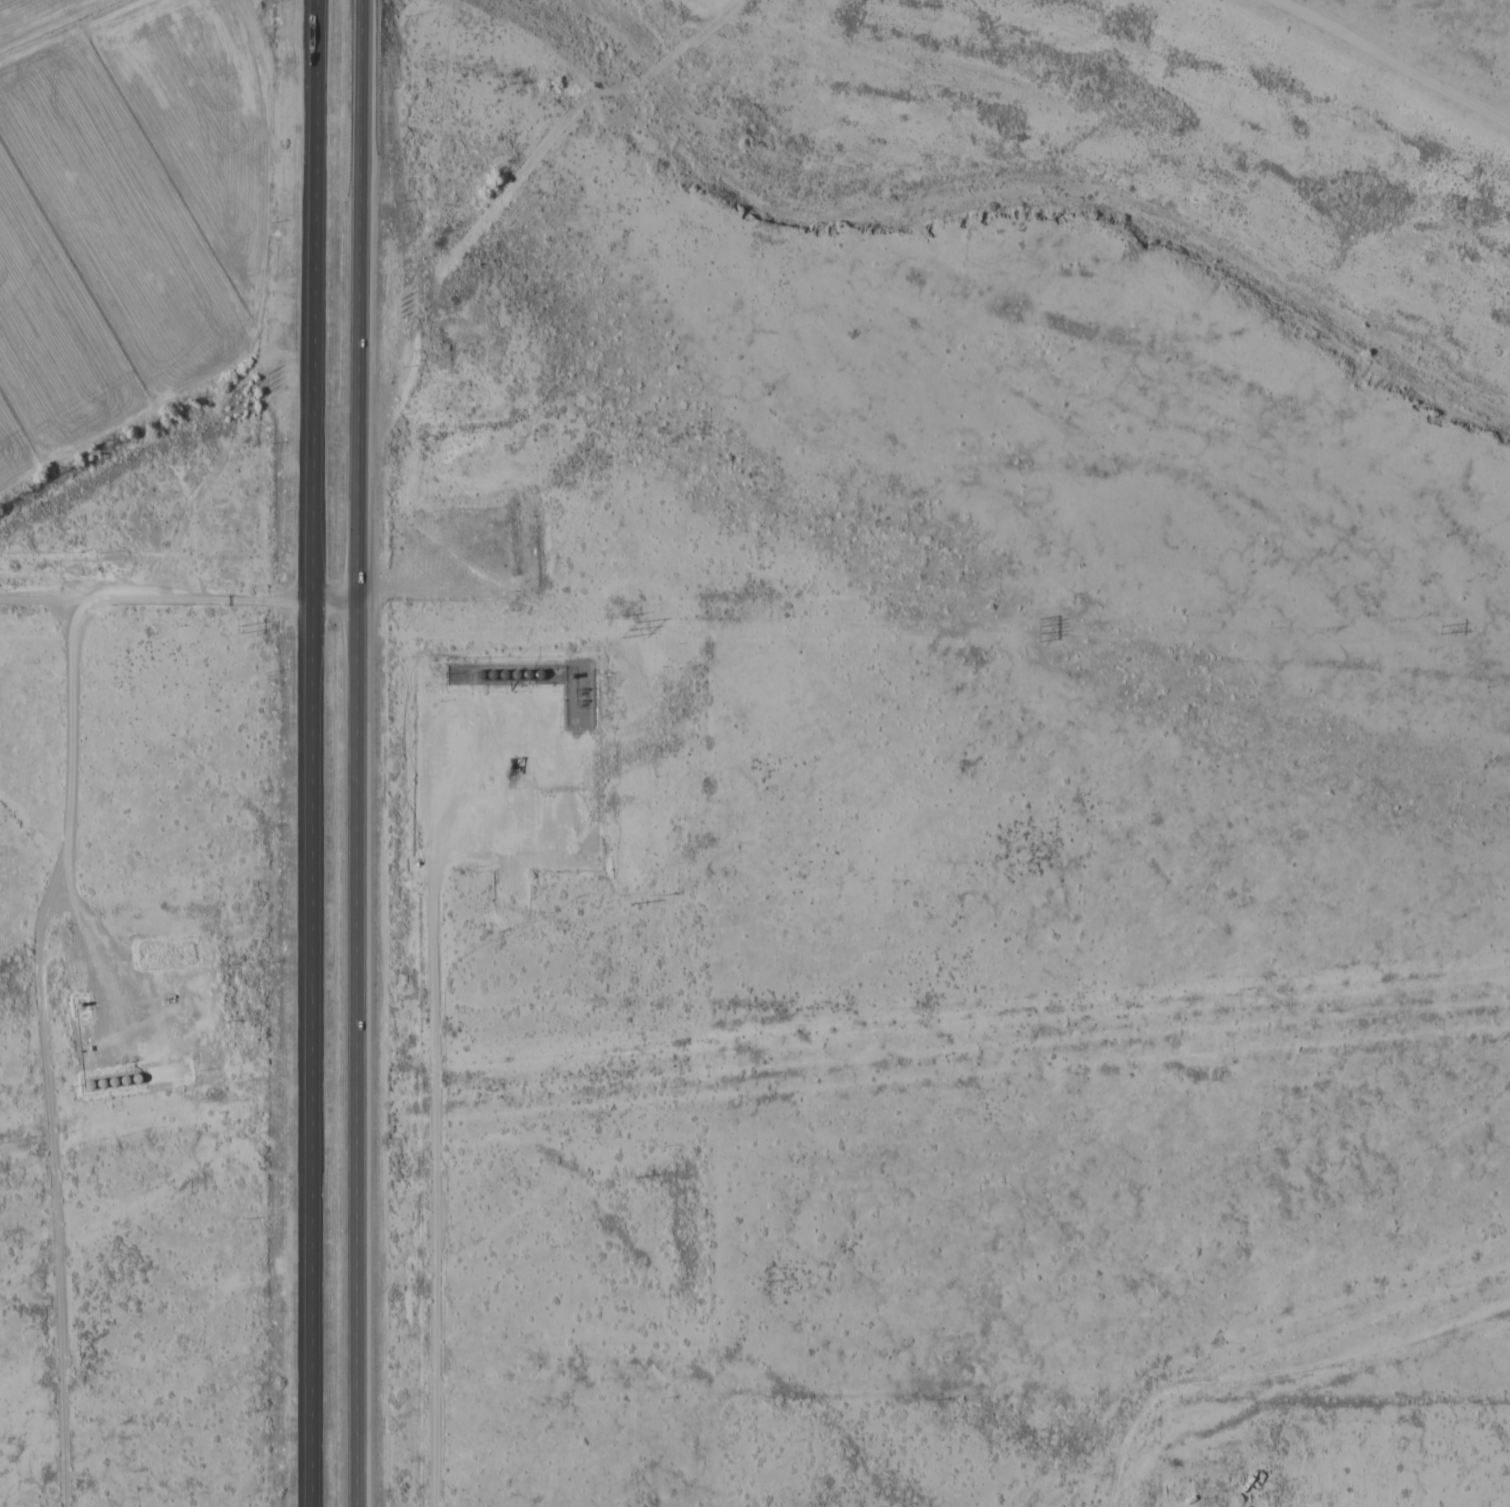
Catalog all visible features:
road: (175, 600)
power tower: (1032, 629)
power tower: (1440, 629)
power tower: (237, 630)
power tower: (625, 630)
road: (310, 753)
road: (356, 753)
road: (94, 962)
road: (37, 1049)
road: (423, 1104)

